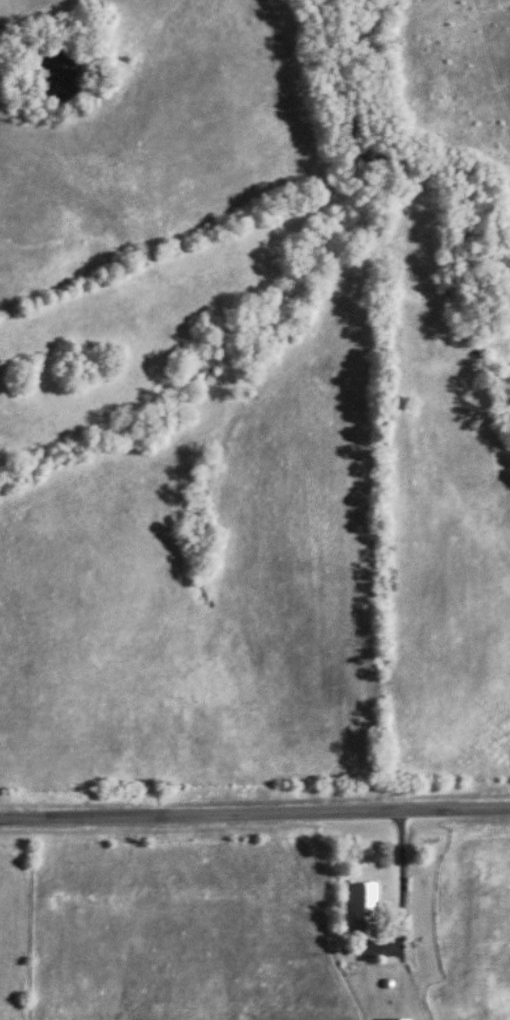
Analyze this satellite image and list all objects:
road: (255, 815)
building: (363, 911)

